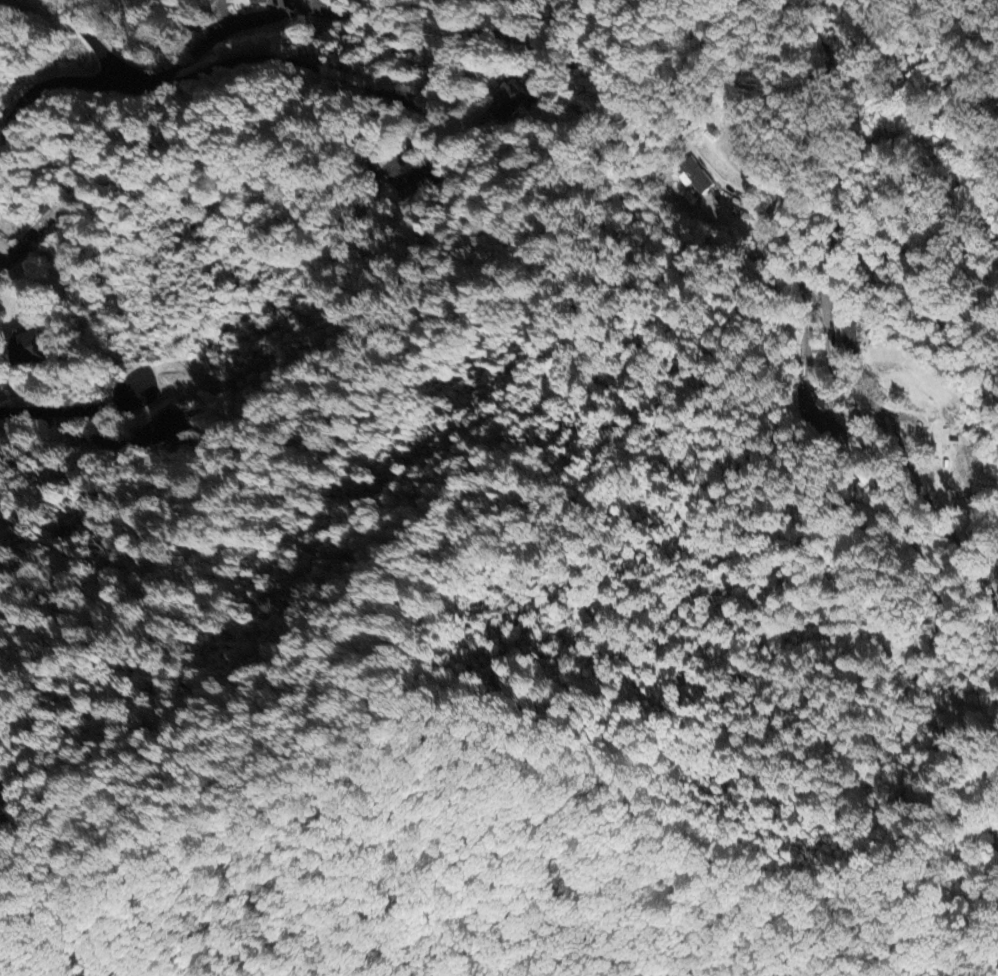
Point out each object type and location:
building: (256, 1)
building: (338, 12)
road: (281, 21)
road: (87, 79)
building: (506, 101)
building: (693, 174)
building: (421, 178)
road: (840, 218)
road: (4, 250)
road: (793, 259)
building: (849, 335)
building: (28, 348)
road: (63, 407)
building: (165, 428)

